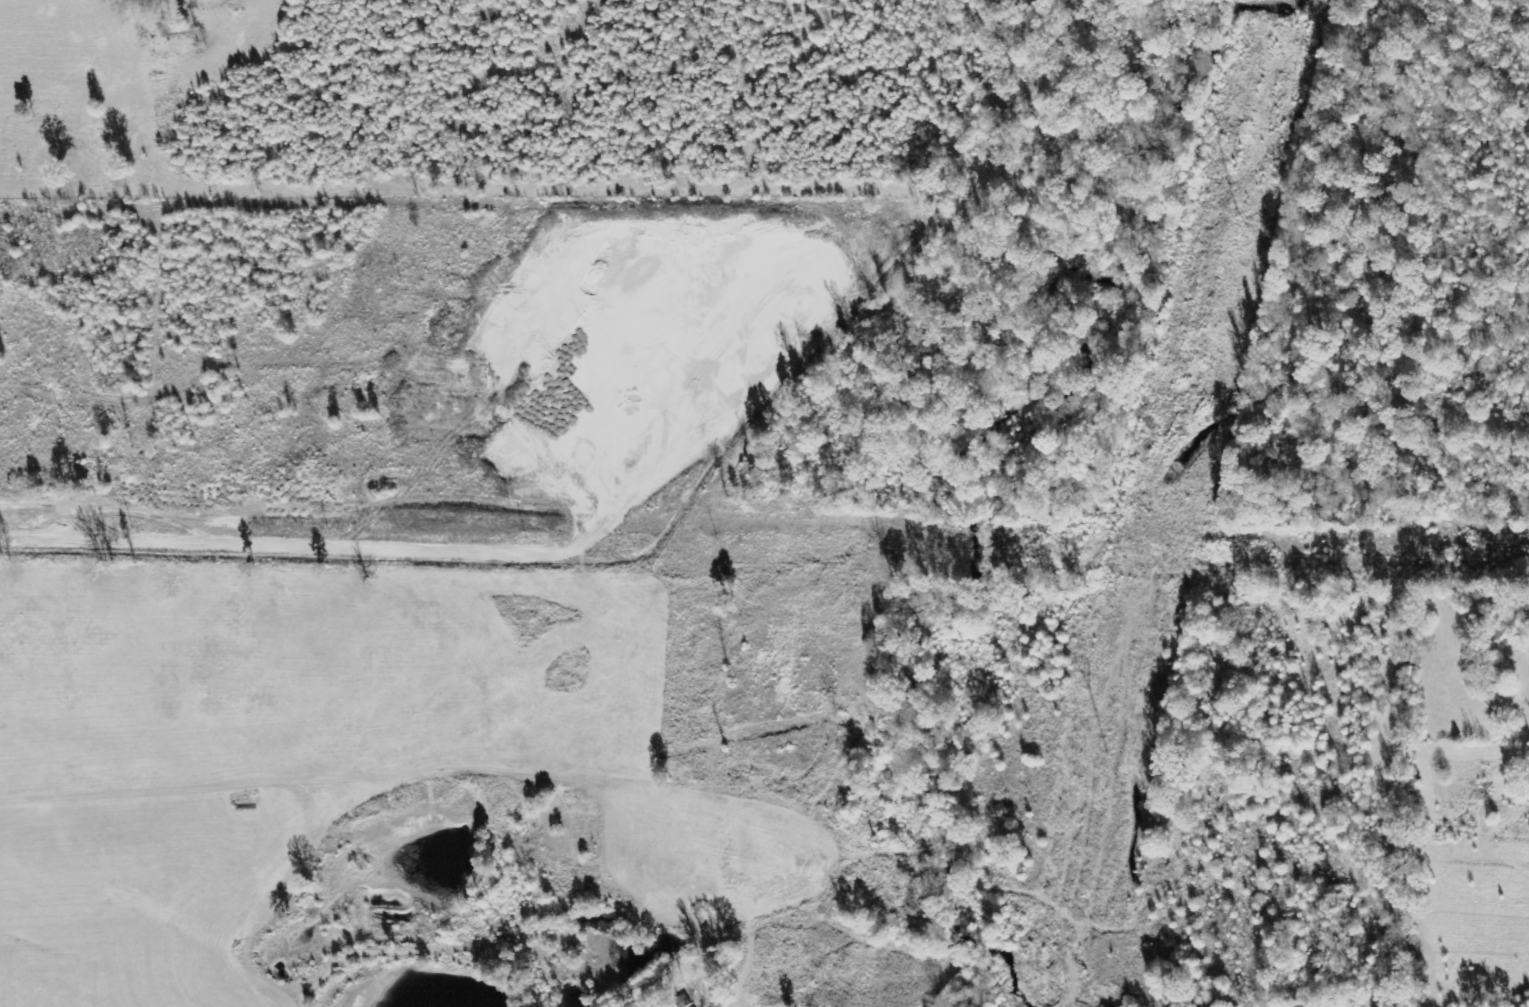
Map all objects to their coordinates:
power tower: (1237, 208)
road: (665, 617)
power tower: (1106, 752)

